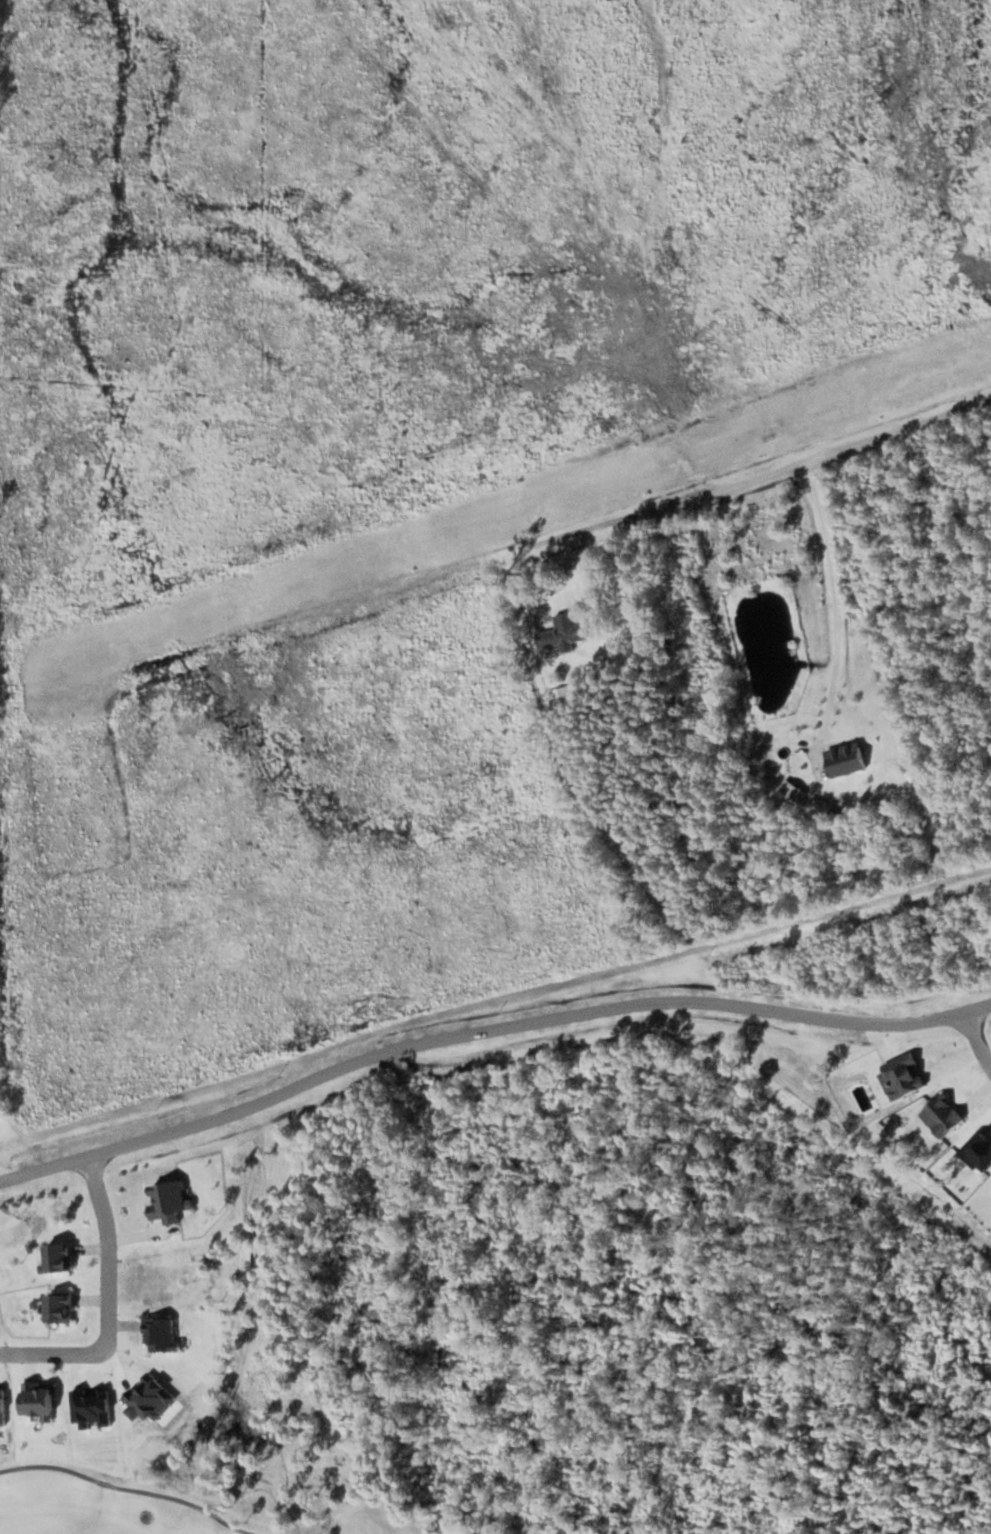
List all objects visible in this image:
road: (760, 472)
airport runway: (515, 513)
building: (561, 632)
building: (844, 758)
road: (487, 1031)
road: (973, 1041)
building: (941, 1115)
building: (977, 1151)
building: (56, 1257)
road: (107, 1304)
building: (57, 1308)
building: (159, 1334)

